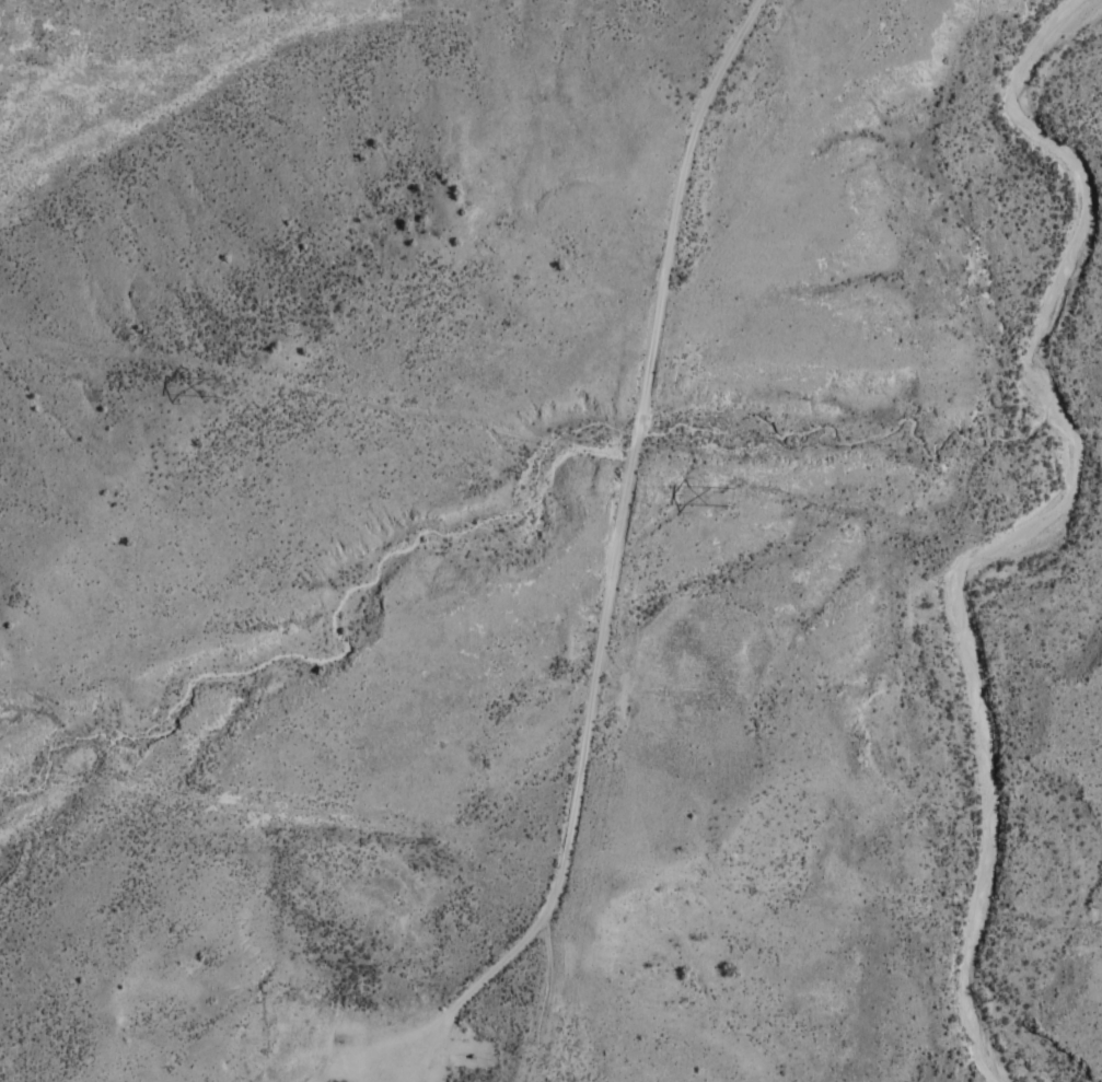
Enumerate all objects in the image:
power tower: (222, 386)
power tower: (724, 498)
road: (594, 520)
river: (1009, 535)

